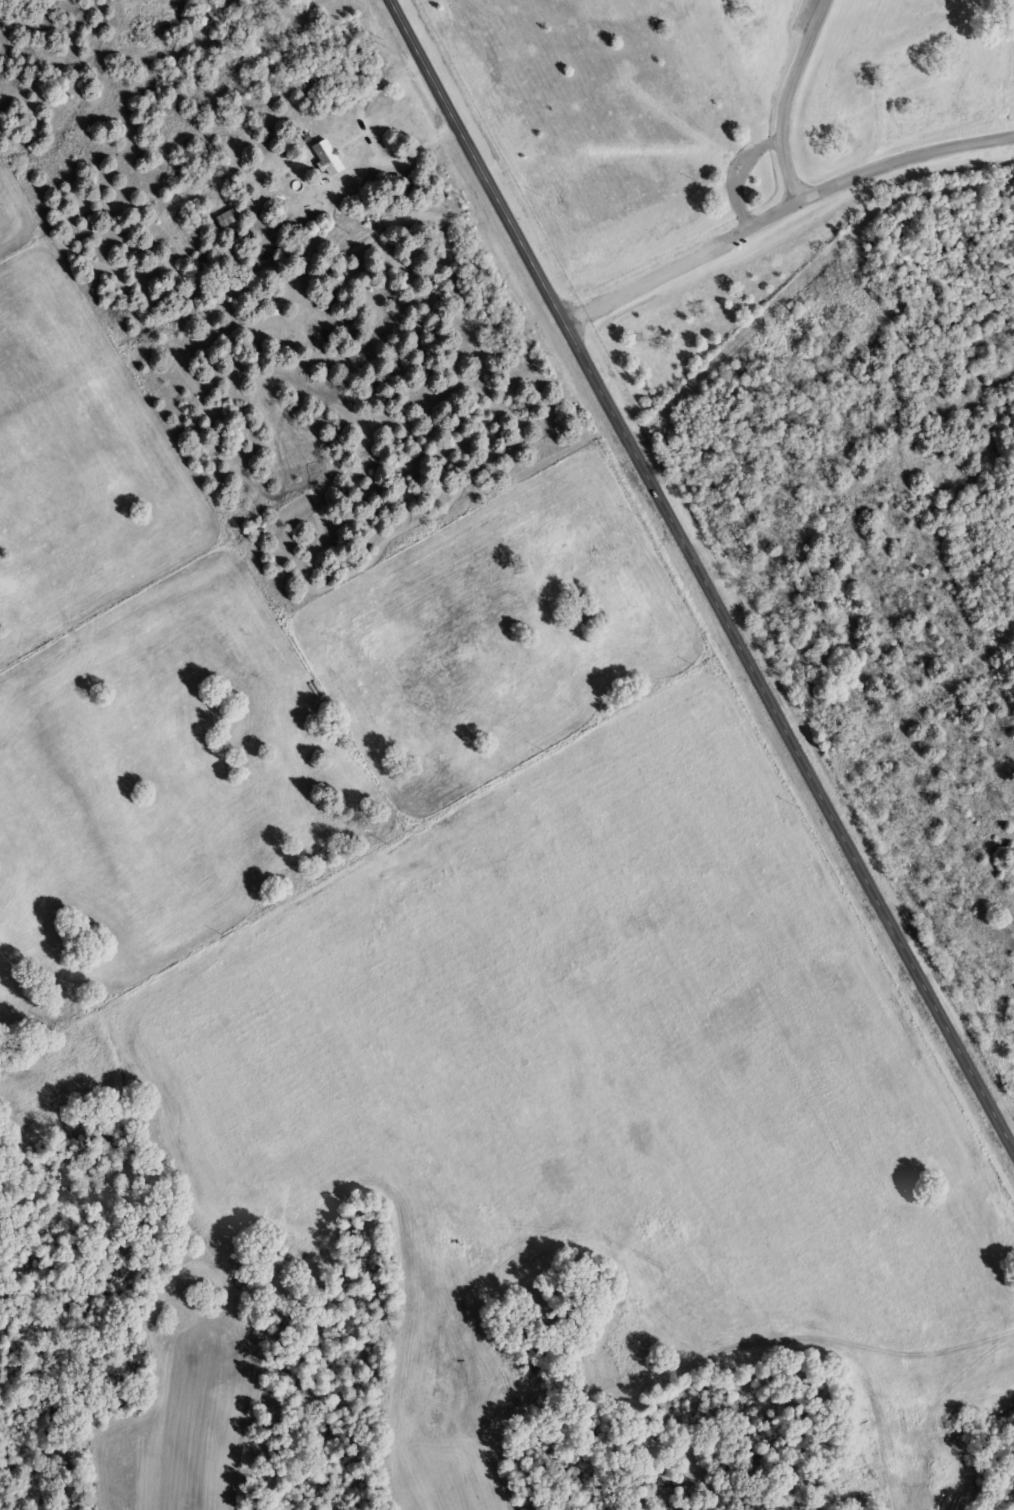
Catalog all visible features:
road: (784, 100)
building: (328, 157)
road: (735, 174)
road: (780, 212)
building: (227, 219)
road: (699, 577)

